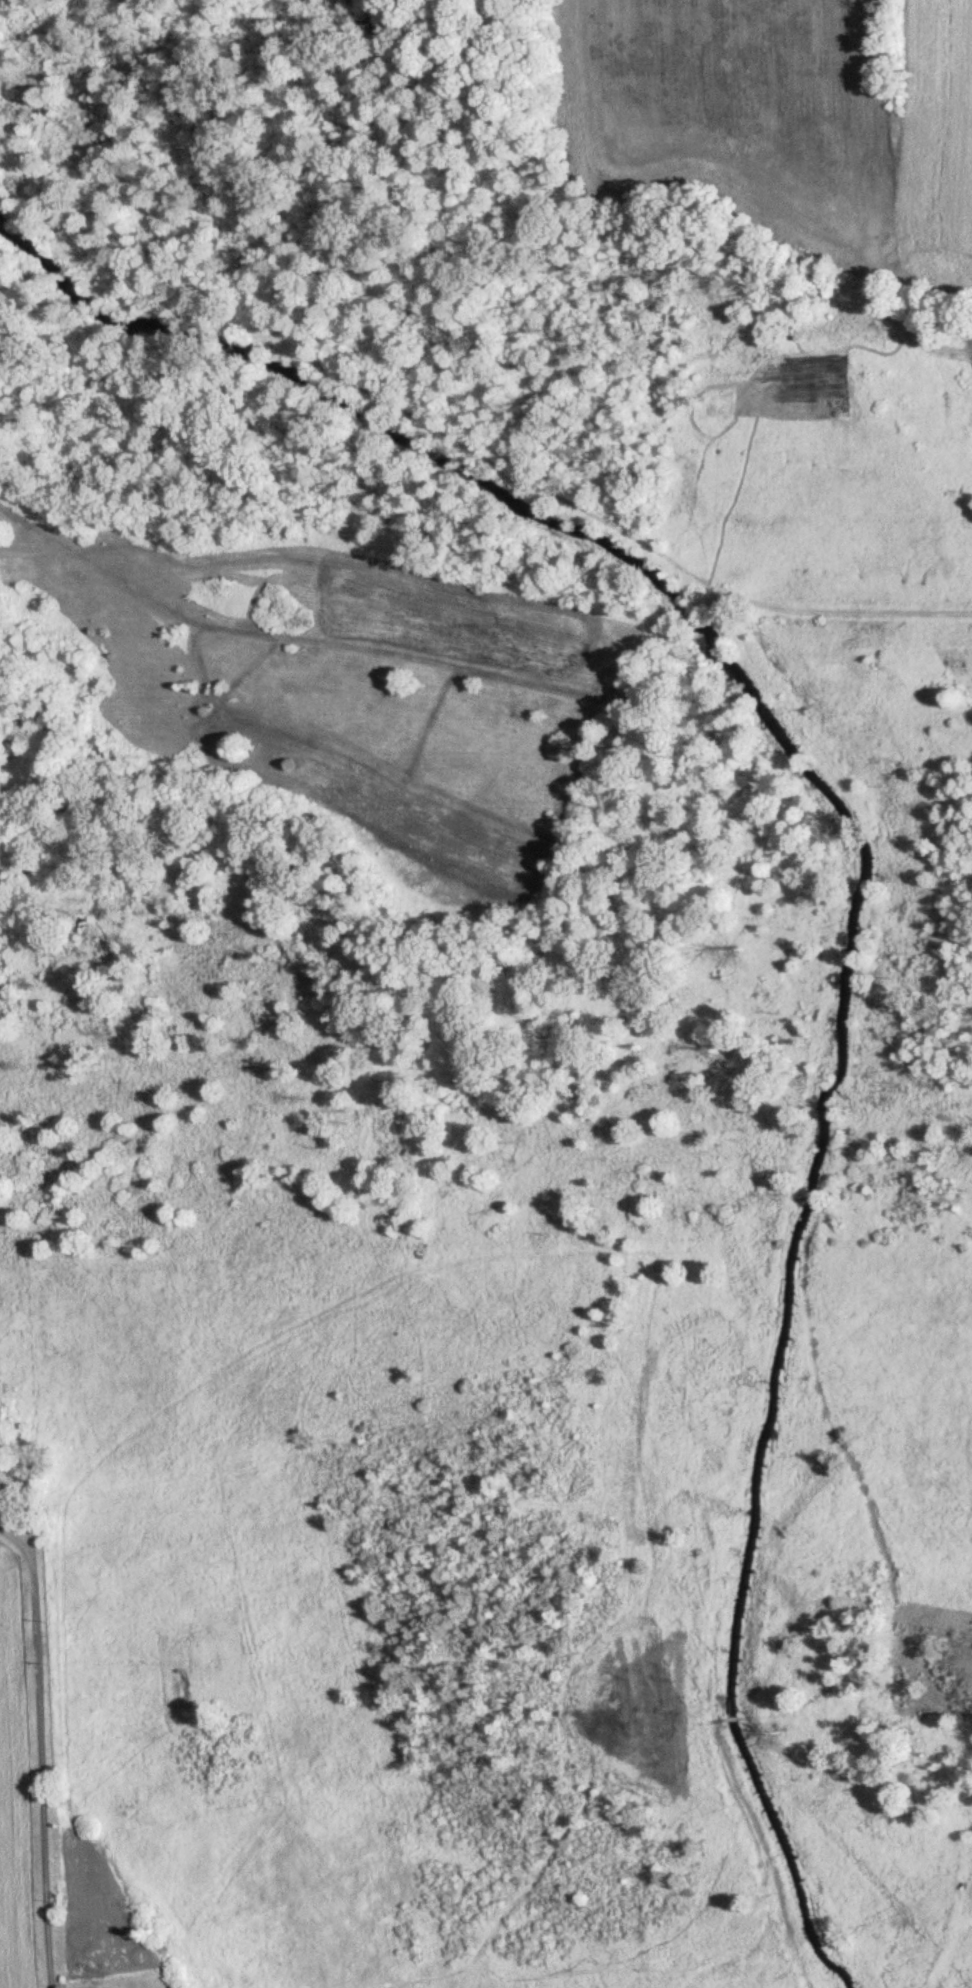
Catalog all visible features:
road: (27, 1512)
road: (44, 1749)

